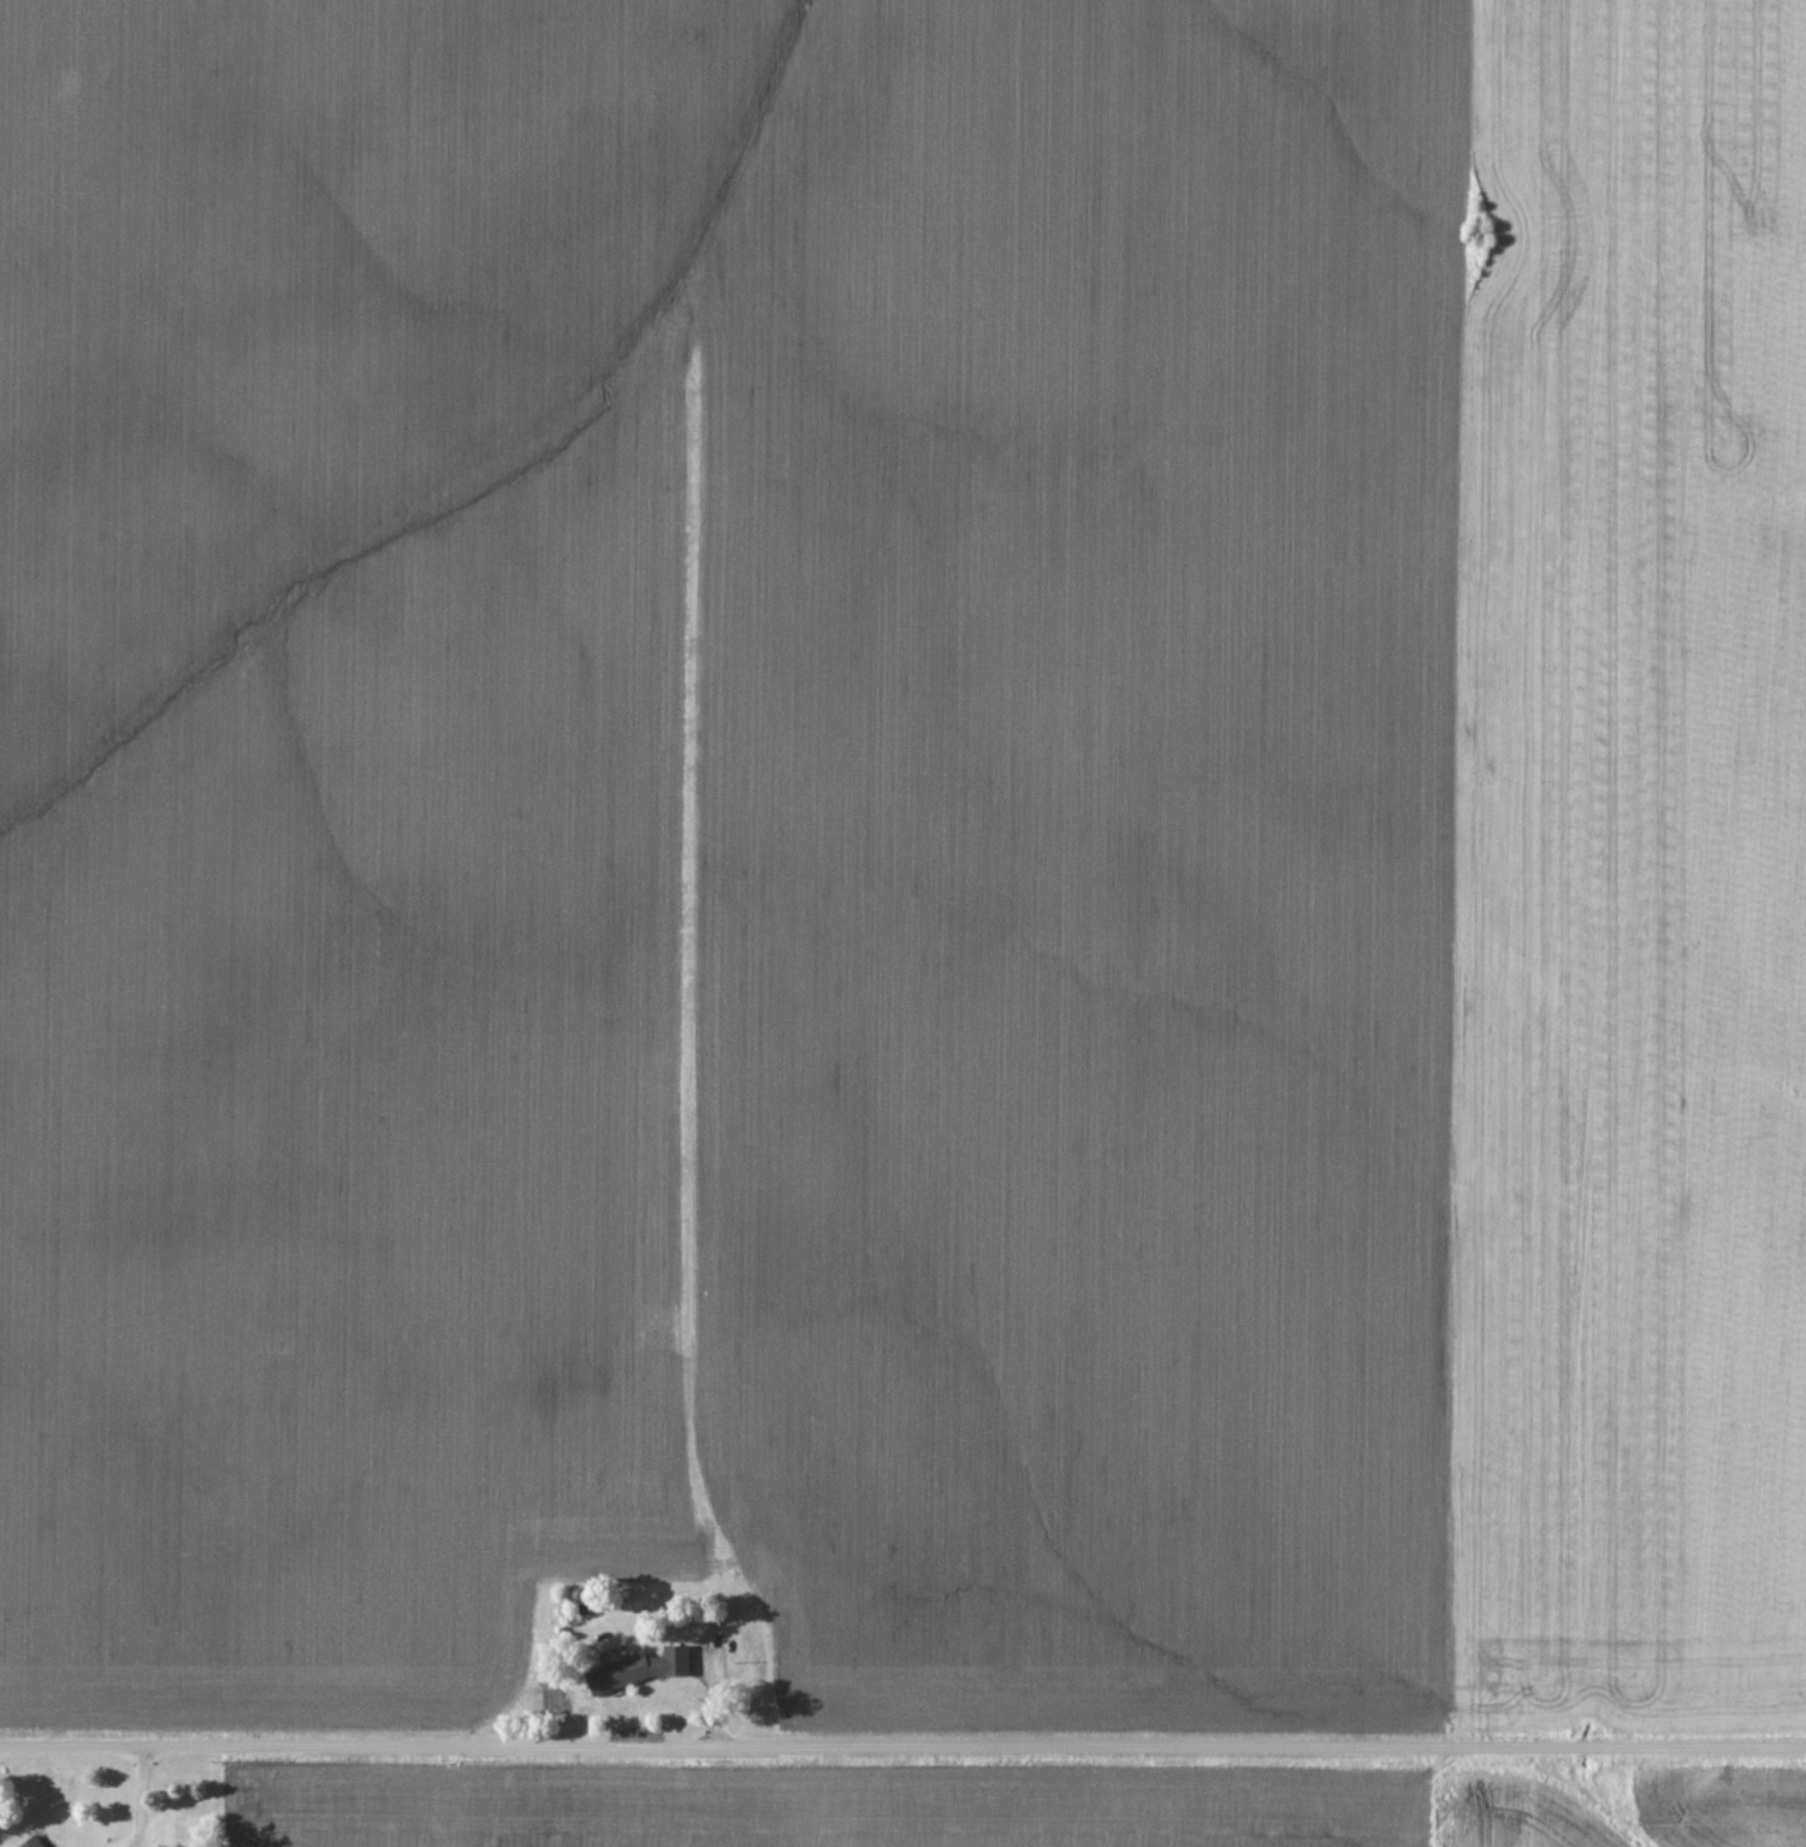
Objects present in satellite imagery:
road: (902, 1746)
road: (142, 1792)
building: (35, 1842)

